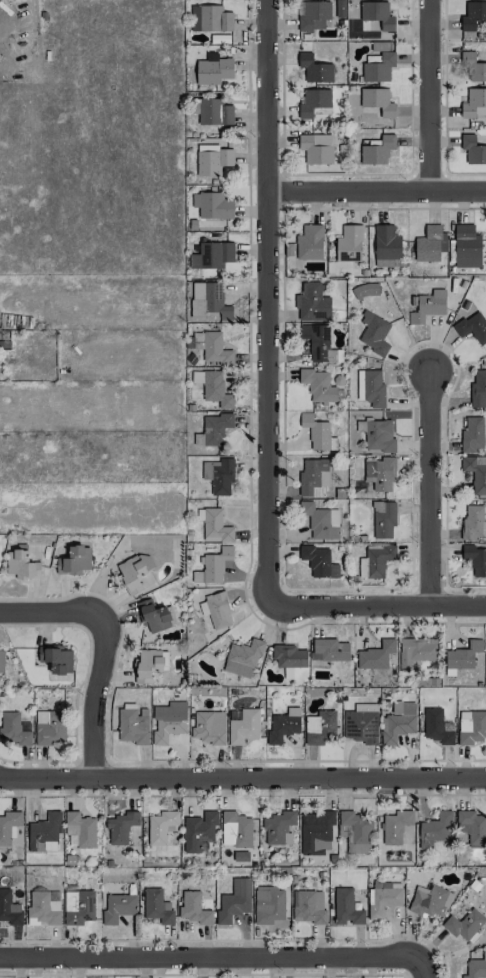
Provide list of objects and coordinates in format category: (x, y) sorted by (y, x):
building: (377, 14)
building: (314, 15)
building: (473, 15)
building: (210, 19)
building: (381, 45)
building: (377, 66)
building: (474, 67)
building: (213, 69)
building: (315, 69)
road: (431, 96)
building: (313, 101)
building: (377, 101)
building: (474, 103)
building: (215, 113)
building: (316, 148)
building: (378, 150)
building: (473, 150)
building: (212, 159)
road: (374, 191)
building: (212, 205)
building: (310, 242)
building: (349, 243)
building: (430, 244)
building: (467, 247)
building: (290, 250)
building: (215, 254)
building: (365, 290)
building: (208, 300)
road: (263, 302)
building: (313, 302)
building: (428, 306)
building: (472, 327)
building: (374, 333)
building: (319, 343)
building: (214, 348)
building: (318, 386)
building: (213, 388)
building: (370, 388)
building: (478, 389)
building: (215, 428)
building: (318, 433)
building: (472, 434)
building: (377, 435)
building: (475, 472)
building: (380, 473)
building: (222, 476)
building: (313, 477)
road: (430, 485)
building: (383, 518)
building: (320, 520)
building: (474, 521)
building: (215, 526)
building: (75, 560)
building: (375, 560)
building: (475, 560)
building: (319, 562)
building: (215, 564)
building: (21, 565)
building: (131, 573)
road: (374, 601)
building: (215, 611)
building: (154, 616)
road: (96, 647)
building: (329, 649)
building: (416, 651)
building: (376, 655)
building: (463, 655)
building: (1, 656)
building: (289, 656)
building: (55, 658)
building: (243, 658)
building: (146, 665)
building: (168, 721)
building: (398, 722)
building: (133, 724)
building: (361, 724)
building: (283, 725)
building: (209, 726)
building: (244, 726)
building: (471, 726)
building: (49, 727)
building: (319, 727)
building: (437, 727)
building: (14, 729)
road: (242, 778)
building: (472, 825)
building: (9, 826)
building: (160, 826)
building: (395, 826)
building: (121, 827)
building: (278, 828)
building: (434, 829)
building: (79, 830)
building: (236, 830)
building: (355, 831)
building: (199, 832)
building: (316, 832)
building: (44, 833)
building: (384, 897)
building: (234, 901)
building: (430, 901)
building: (157, 906)
building: (117, 907)
building: (269, 907)
building: (308, 907)
building: (43, 908)
building: (194, 908)
building: (346, 908)
building: (9, 909)
building: (81, 909)
building: (464, 925)
road: (208, 963)
building: (475, 968)
road: (417, 970)

